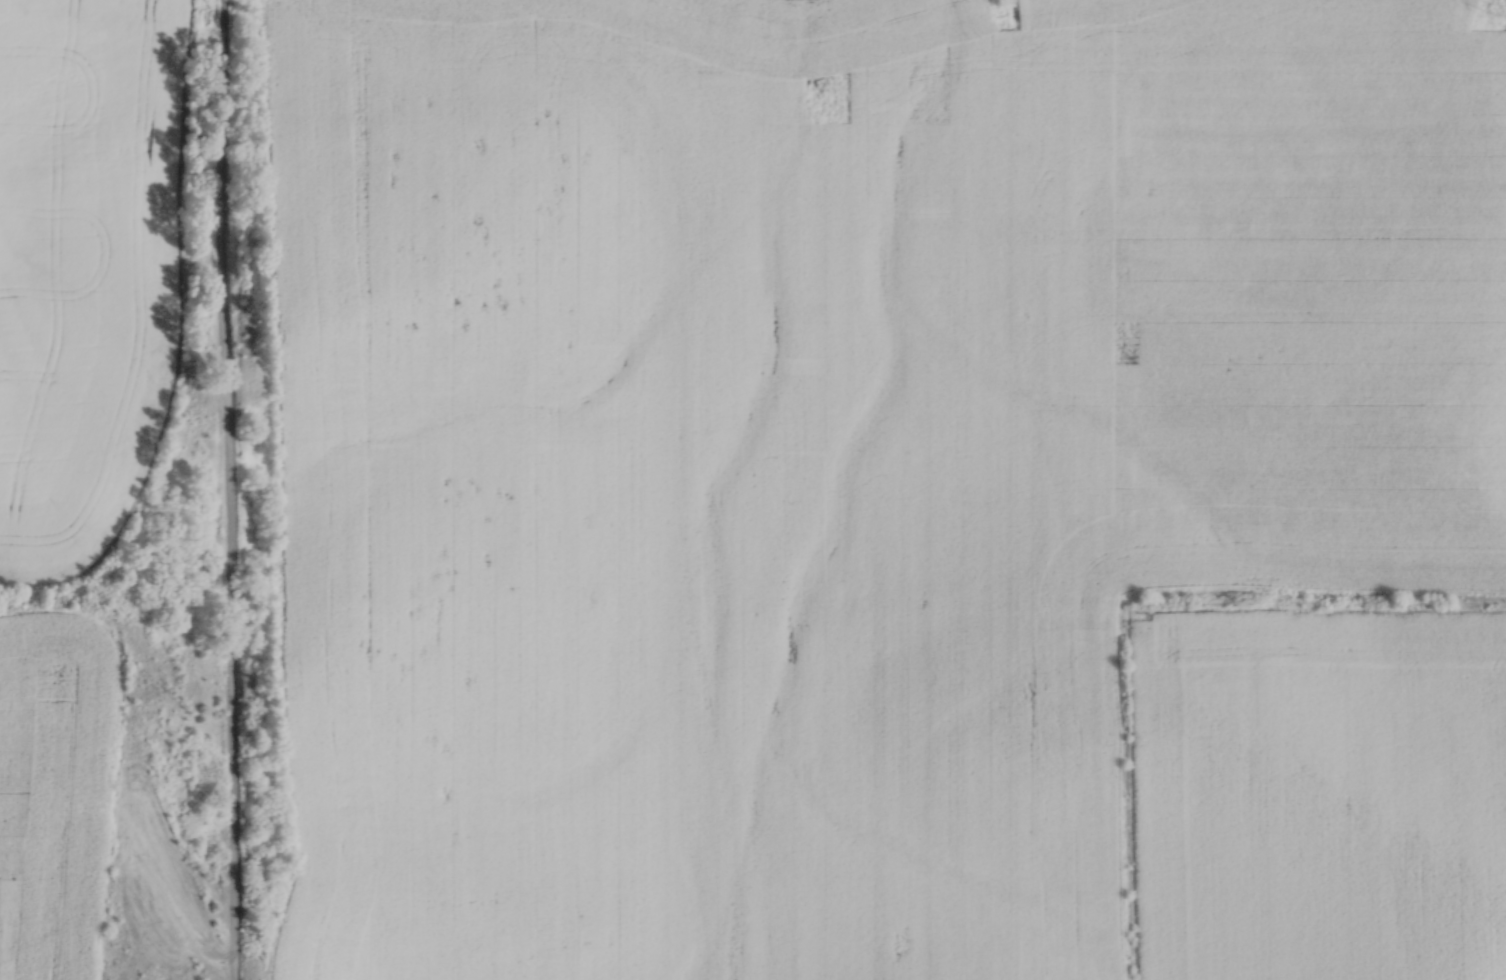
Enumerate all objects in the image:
power tower: (1494, 7)
road: (230, 489)

